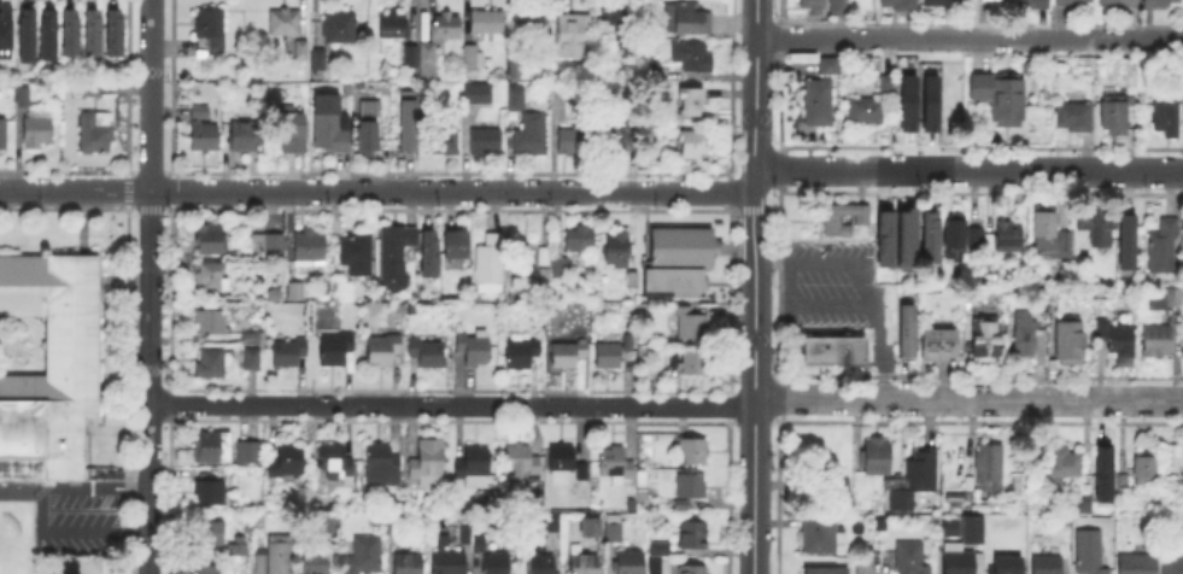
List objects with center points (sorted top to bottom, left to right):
building: (1072, 2)
building: (943, 4)
building: (1119, 4)
building: (1160, 4)
building: (902, 5)
building: (1032, 5)
building: (834, 6)
building: (814, 7)
building: (687, 17)
building: (285, 24)
building: (529, 24)
building: (490, 25)
building: (394, 27)
building: (341, 28)
building: (445, 28)
building: (4, 29)
building: (211, 29)
building: (72, 30)
building: (93, 30)
building: (116, 30)
building: (620, 30)
building: (49, 31)
building: (27, 33)
building: (572, 33)
road: (970, 36)
building: (301, 51)
building: (411, 55)
building: (474, 58)
building: (695, 59)
road: (756, 59)
building: (317, 60)
building: (428, 61)
building: (826, 63)
building: (1062, 64)
building: (4, 70)
building: (387, 71)
building: (884, 83)
building: (87, 89)
building: (478, 92)
road: (150, 94)
building: (24, 98)
building: (519, 98)
building: (326, 99)
building: (816, 100)
building: (1003, 100)
building: (906, 101)
building: (927, 101)
building: (369, 106)
building: (693, 106)
building: (863, 110)
building: (1077, 118)
building: (1117, 119)
building: (513, 121)
building: (1167, 121)
building: (406, 122)
building: (39, 130)
building: (203, 131)
building: (623, 131)
building: (96, 133)
building: (295, 135)
building: (330, 135)
building: (4, 136)
building: (531, 136)
building: (244, 139)
building: (368, 141)
building: (575, 141)
building: (443, 142)
building: (485, 142)
building: (693, 147)
road: (754, 150)
road: (966, 169)
road: (75, 189)
road: (452, 191)
road: (752, 216)
road: (80, 222)
building: (833, 223)
building: (1101, 229)
building: (927, 234)
building: (973, 235)
building: (1049, 235)
building: (883, 236)
building: (903, 236)
building: (1009, 239)
building: (580, 240)
building: (1126, 240)
building: (211, 241)
building: (456, 241)
building: (956, 241)
building: (979, 241)
building: (268, 246)
building: (399, 246)
building: (1166, 247)
building: (617, 250)
building: (310, 251)
building: (429, 251)
building: (357, 257)
building: (680, 258)
building: (991, 262)
building: (486, 268)
building: (560, 269)
building: (523, 275)
building: (210, 277)
building: (889, 280)
building: (340, 289)
building: (297, 293)
building: (478, 295)
building: (1037, 297)
road: (867, 298)
building: (1166, 301)
building: (685, 320)
building: (211, 326)
road: (756, 326)
building: (904, 329)
building: (251, 338)
building: (1117, 339)
building: (1027, 340)
building: (937, 341)
building: (629, 342)
building: (986, 342)
building: (1072, 342)
building: (1158, 342)
building: (335, 350)
building: (475, 350)
building: (385, 351)
building: (428, 353)
building: (521, 353)
building: (289, 355)
building: (570, 355)
building: (610, 357)
building: (834, 357)
building: (685, 359)
building: (252, 361)
building: (212, 365)
building: (51, 371)
road: (148, 381)
road: (666, 406)
road: (117, 432)
building: (689, 447)
building: (212, 450)
building: (250, 455)
building: (879, 459)
building: (568, 462)
building: (288, 463)
building: (523, 463)
building: (428, 464)
building: (339, 465)
building: (1066, 465)
building: (383, 467)
building: (617, 467)
building: (475, 469)
building: (991, 469)
building: (1147, 469)
building: (1101, 473)
building: (913, 478)
building: (834, 481)
building: (1124, 481)
road: (754, 488)
building: (691, 493)
building: (210, 494)
building: (1080, 502)
road: (41, 509)
parking lot: (77, 517)
building: (593, 521)
building: (329, 522)
building: (877, 522)
building: (551, 526)
building: (948, 526)
building: (970, 527)
building: (393, 528)
building: (614, 529)
building: (210, 534)
building: (465, 537)
building: (824, 538)
building: (696, 540)
building: (480, 546)
building: (238, 547)
building: (662, 550)
building: (1090, 550)
building: (279, 556)
building: (364, 556)
building: (912, 560)
building: (260, 563)
building: (315, 563)
building: (631, 563)
building: (450, 564)
building: (498, 564)
building: (960, 564)
building: (409, 566)
building: (545, 566)
building: (585, 566)
building: (1140, 566)
building: (1173, 566)
building: (661, 567)
building: (1009, 567)
building: (1049, 567)
building: (865, 568)
building: (209, 572)
building: (695, 572)
building: (822, 573)

